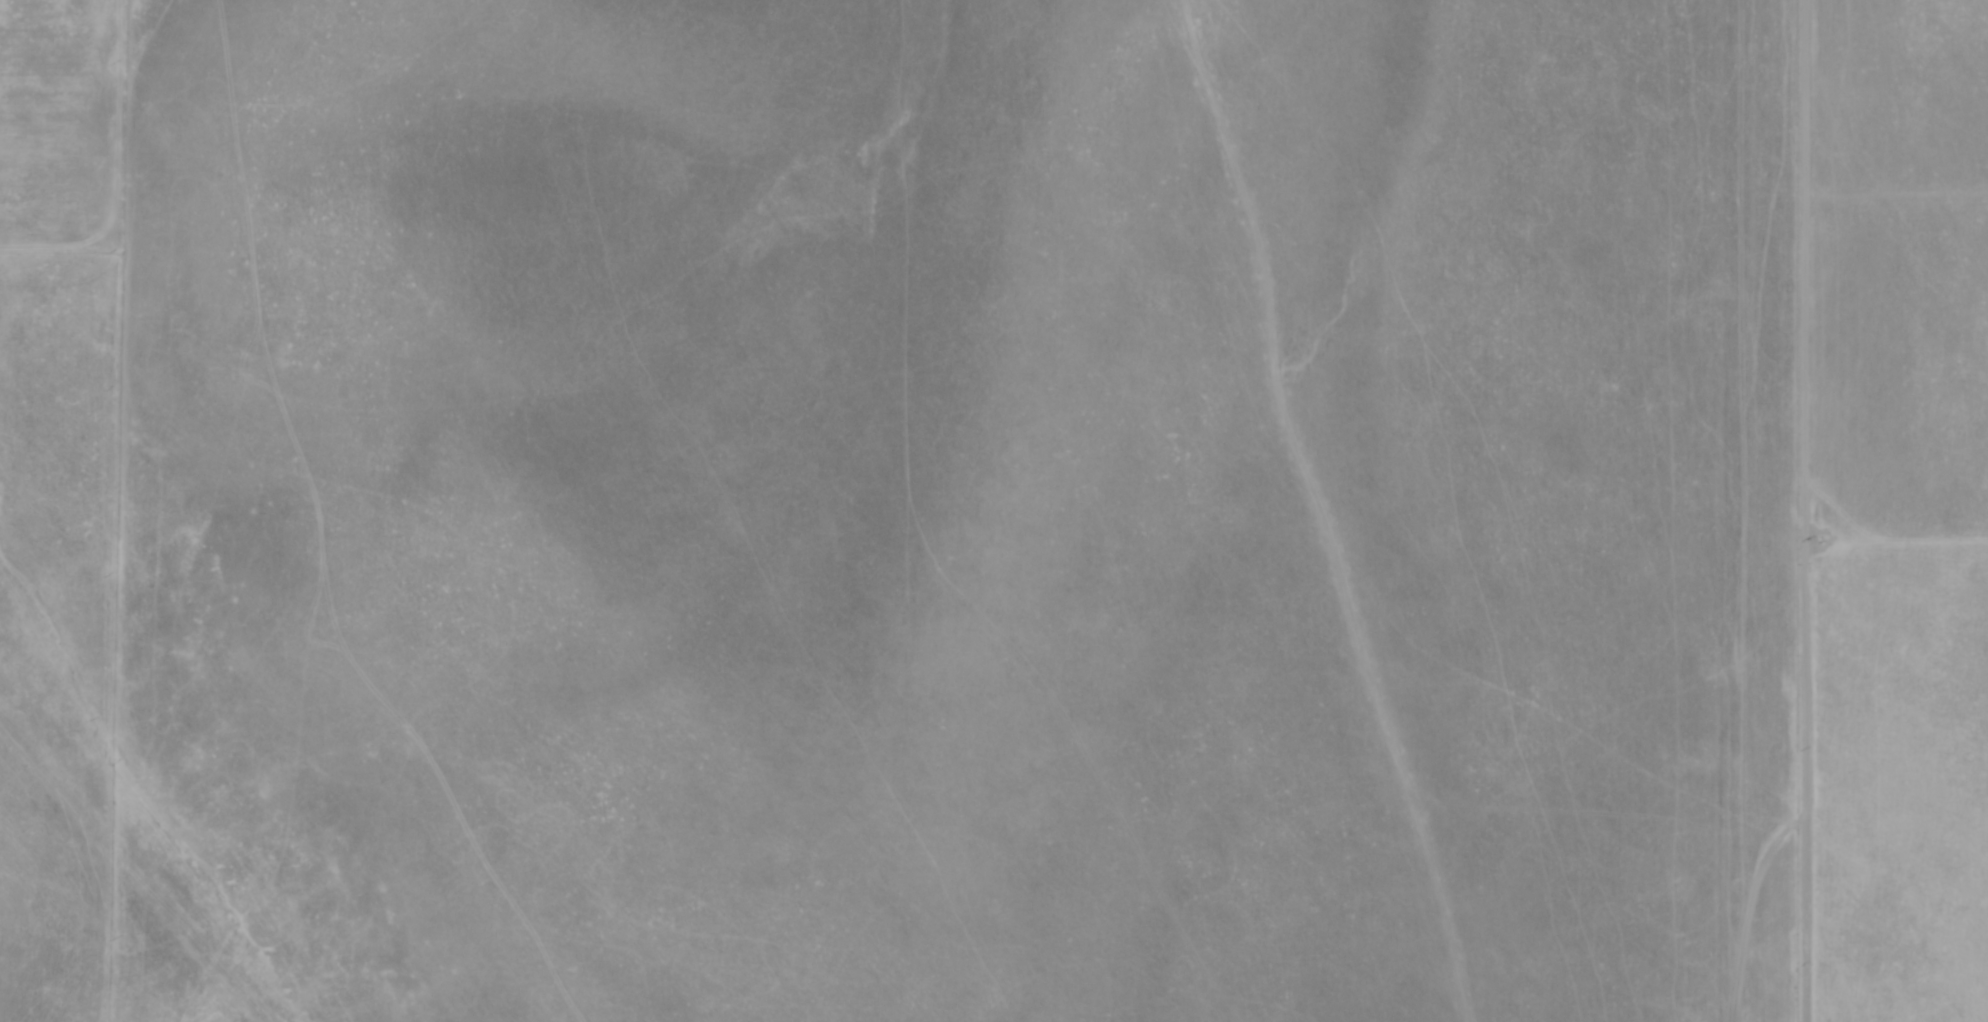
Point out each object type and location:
crop: (1897, 264)

